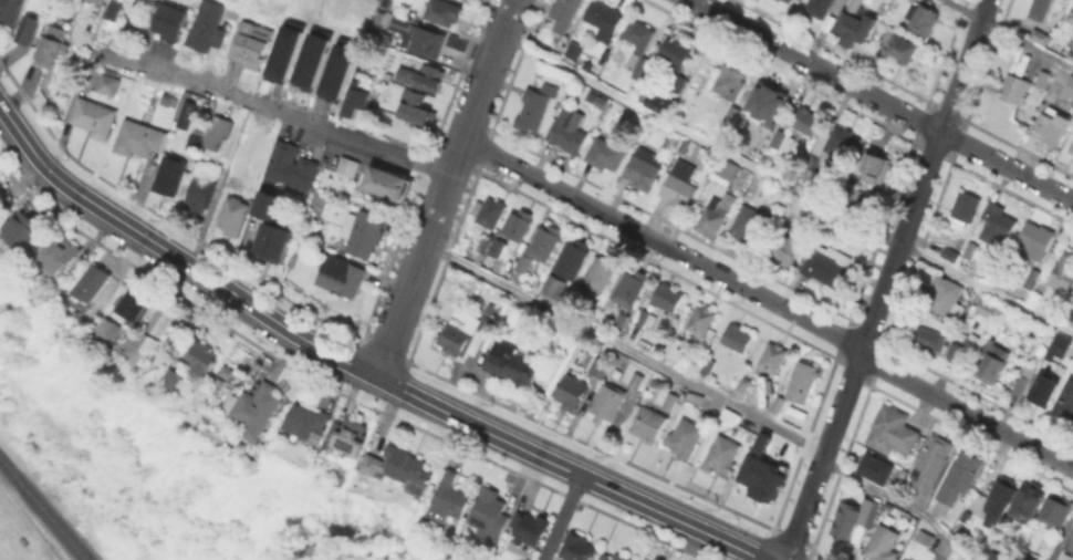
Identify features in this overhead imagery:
building: (97, 1)
building: (786, 1)
building: (822, 8)
building: (113, 9)
building: (1040, 9)
building: (12, 10)
building: (445, 12)
building: (564, 13)
building: (1071, 17)
building: (601, 18)
building: (923, 19)
building: (135, 20)
building: (174, 20)
building: (857, 21)
building: (208, 27)
building: (28, 30)
road: (1009, 33)
building: (1040, 37)
building: (429, 42)
building: (251, 44)
building: (52, 46)
building: (639, 48)
building: (571, 49)
building: (283, 50)
building: (902, 50)
building: (676, 52)
building: (1071, 54)
building: (311, 56)
building: (336, 68)
building: (424, 76)
building: (1043, 79)
building: (731, 81)
building: (108, 84)
building: (678, 84)
building: (1014, 89)
building: (1070, 89)
building: (167, 97)
building: (362, 97)
building: (770, 100)
road: (881, 100)
building: (655, 102)
building: (535, 106)
building: (659, 108)
building: (418, 110)
building: (183, 113)
road: (277, 113)
building: (735, 113)
building: (95, 117)
building: (808, 122)
building: (1054, 125)
building: (570, 131)
building: (215, 132)
building: (779, 138)
building: (140, 139)
building: (195, 142)
building: (669, 142)
building: (834, 144)
building: (1072, 148)
building: (606, 154)
building: (344, 165)
building: (292, 166)
building: (875, 166)
building: (725, 170)
building: (643, 173)
building: (170, 176)
building: (387, 183)
building: (679, 185)
road: (785, 185)
building: (2, 186)
road: (444, 188)
building: (198, 189)
building: (854, 195)
building: (265, 204)
building: (967, 207)
building: (490, 211)
building: (717, 215)
building: (235, 216)
building: (998, 222)
building: (751, 225)
building: (518, 226)
building: (29, 229)
building: (364, 232)
building: (271, 239)
building: (1034, 240)
building: (542, 246)
building: (971, 250)
building: (62, 252)
building: (788, 252)
building: (951, 255)
building: (573, 258)
building: (829, 265)
building: (1063, 272)
building: (341, 277)
building: (598, 277)
building: (1033, 279)
road: (886, 280)
building: (92, 284)
building: (554, 286)
building: (631, 289)
building: (667, 297)
building: (946, 297)
road: (770, 300)
building: (136, 307)
building: (987, 309)
building: (645, 318)
building: (624, 320)
building: (704, 320)
building: (107, 333)
building: (468, 334)
building: (738, 338)
building: (929, 339)
building: (1061, 345)
building: (673, 348)
building: (956, 352)
building: (773, 359)
building: (201, 360)
building: (992, 361)
building: (513, 364)
road: (356, 366)
building: (708, 366)
building: (600, 367)
building: (225, 370)
building: (173, 377)
building: (1024, 377)
building: (636, 381)
building: (802, 382)
building: (744, 384)
road: (706, 390)
building: (1044, 391)
building: (572, 392)
building: (695, 397)
building: (670, 401)
building: (607, 402)
building: (1065, 402)
building: (779, 404)
building: (253, 409)
building: (732, 415)
building: (306, 423)
building: (648, 424)
building: (894, 433)
building: (686, 438)
building: (343, 440)
building: (722, 456)
building: (931, 463)
building: (399, 468)
building: (875, 468)
building: (760, 473)
building: (960, 476)
building: (1001, 497)
building: (449, 499)
road: (48, 500)
building: (1029, 501)
railway: (42, 509)
building: (1056, 510)
building: (490, 515)
road: (560, 517)
building: (855, 519)
building: (530, 529)
building: (926, 537)
road: (1060, 537)
building: (1071, 539)
building: (883, 543)
building: (577, 548)
building: (992, 556)
building: (613, 557)
building: (647, 558)
building: (1020, 558)
building: (658, 559)

